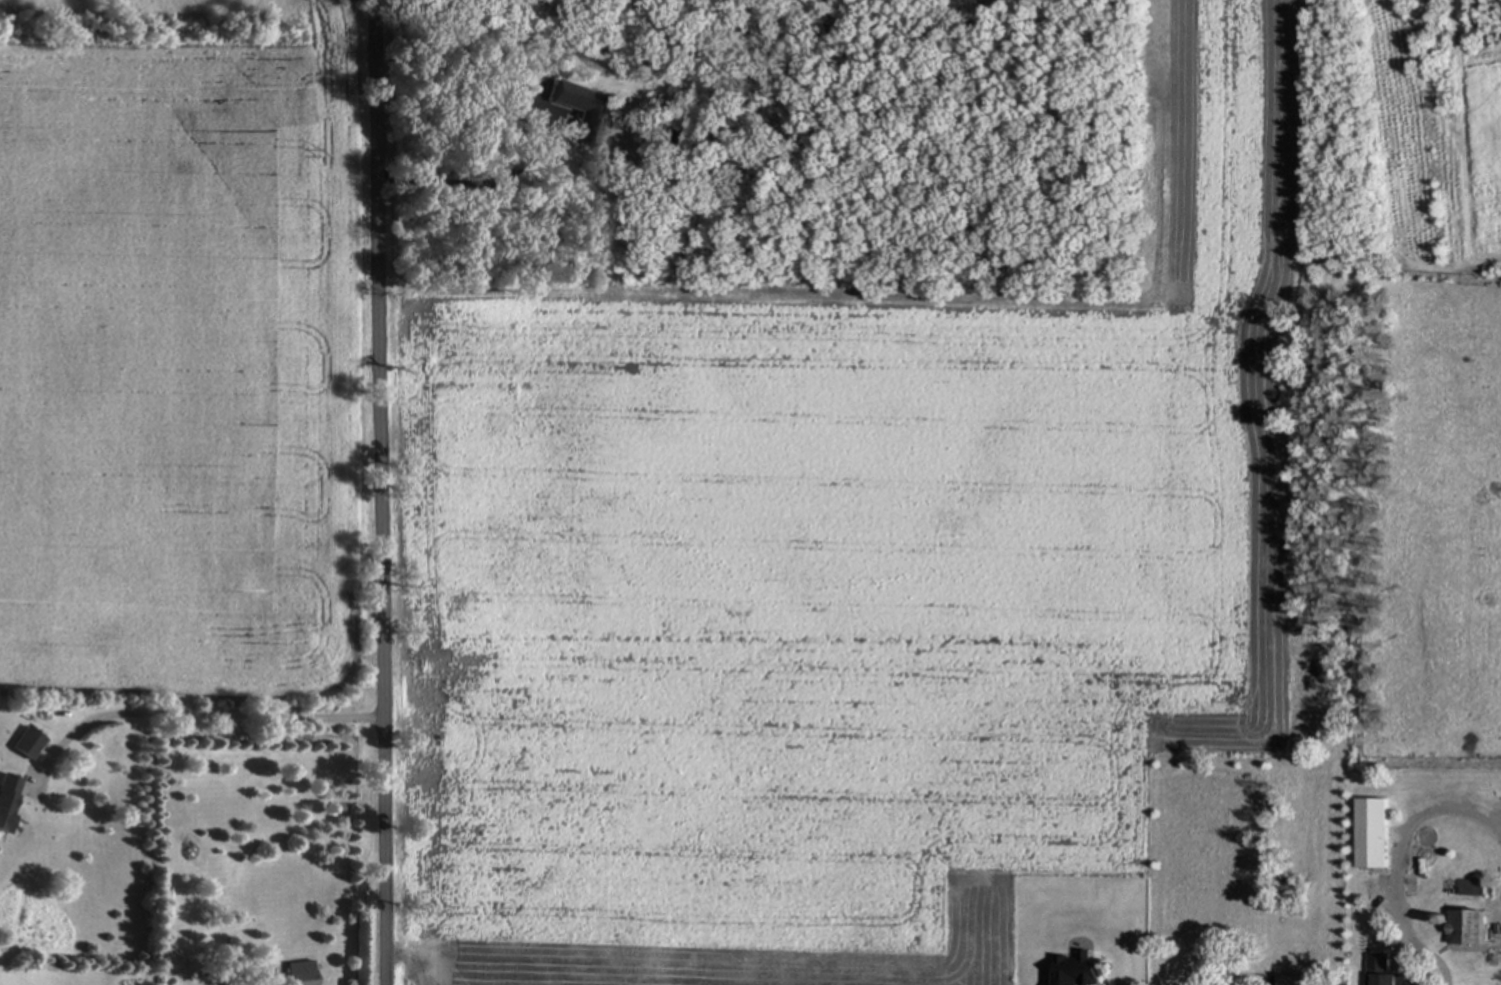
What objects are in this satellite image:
road: (371, 492)
road: (184, 710)
building: (27, 742)
building: (7, 797)
building: (1372, 831)
road: (1400, 860)
building: (1467, 925)
building: (1382, 970)
building: (298, 973)

